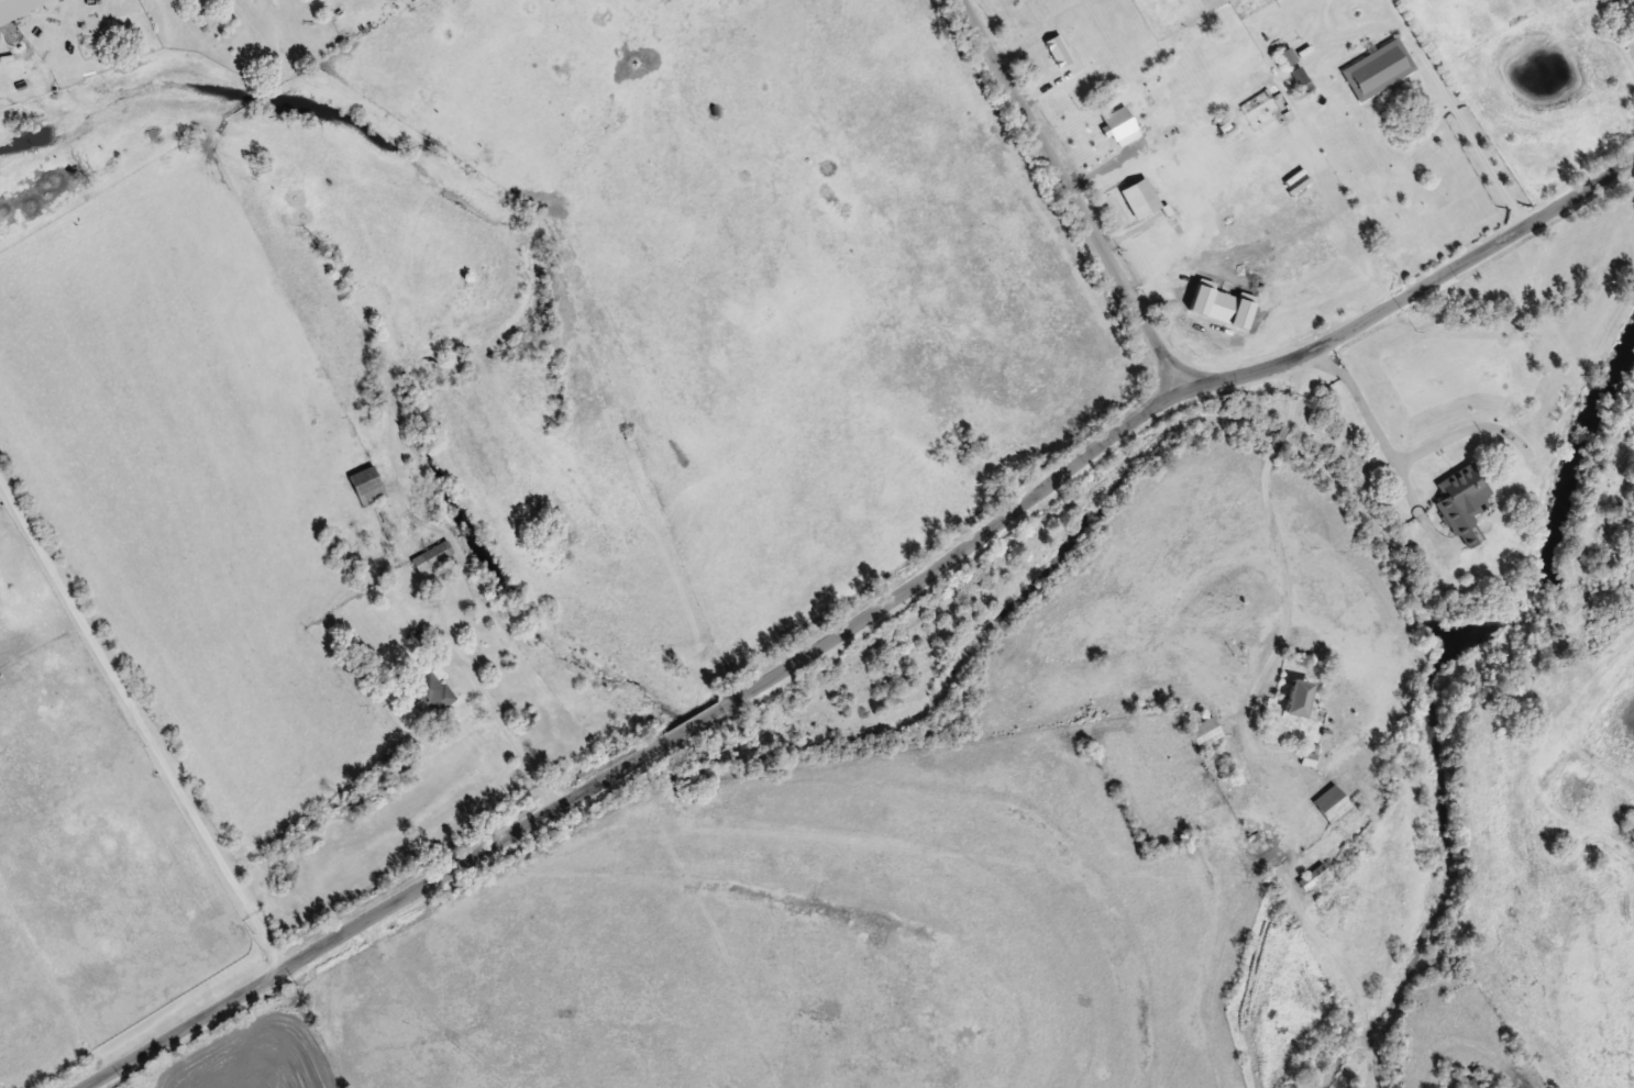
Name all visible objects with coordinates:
building: (16, 8)
building: (1378, 68)
road: (1069, 196)
road: (1414, 289)
building: (368, 485)
building: (1460, 506)
building: (432, 556)
building: (434, 689)
building: (1300, 697)
building: (1205, 731)
road: (636, 745)
building: (1332, 802)
building: (1313, 876)
building: (1471, 1083)

